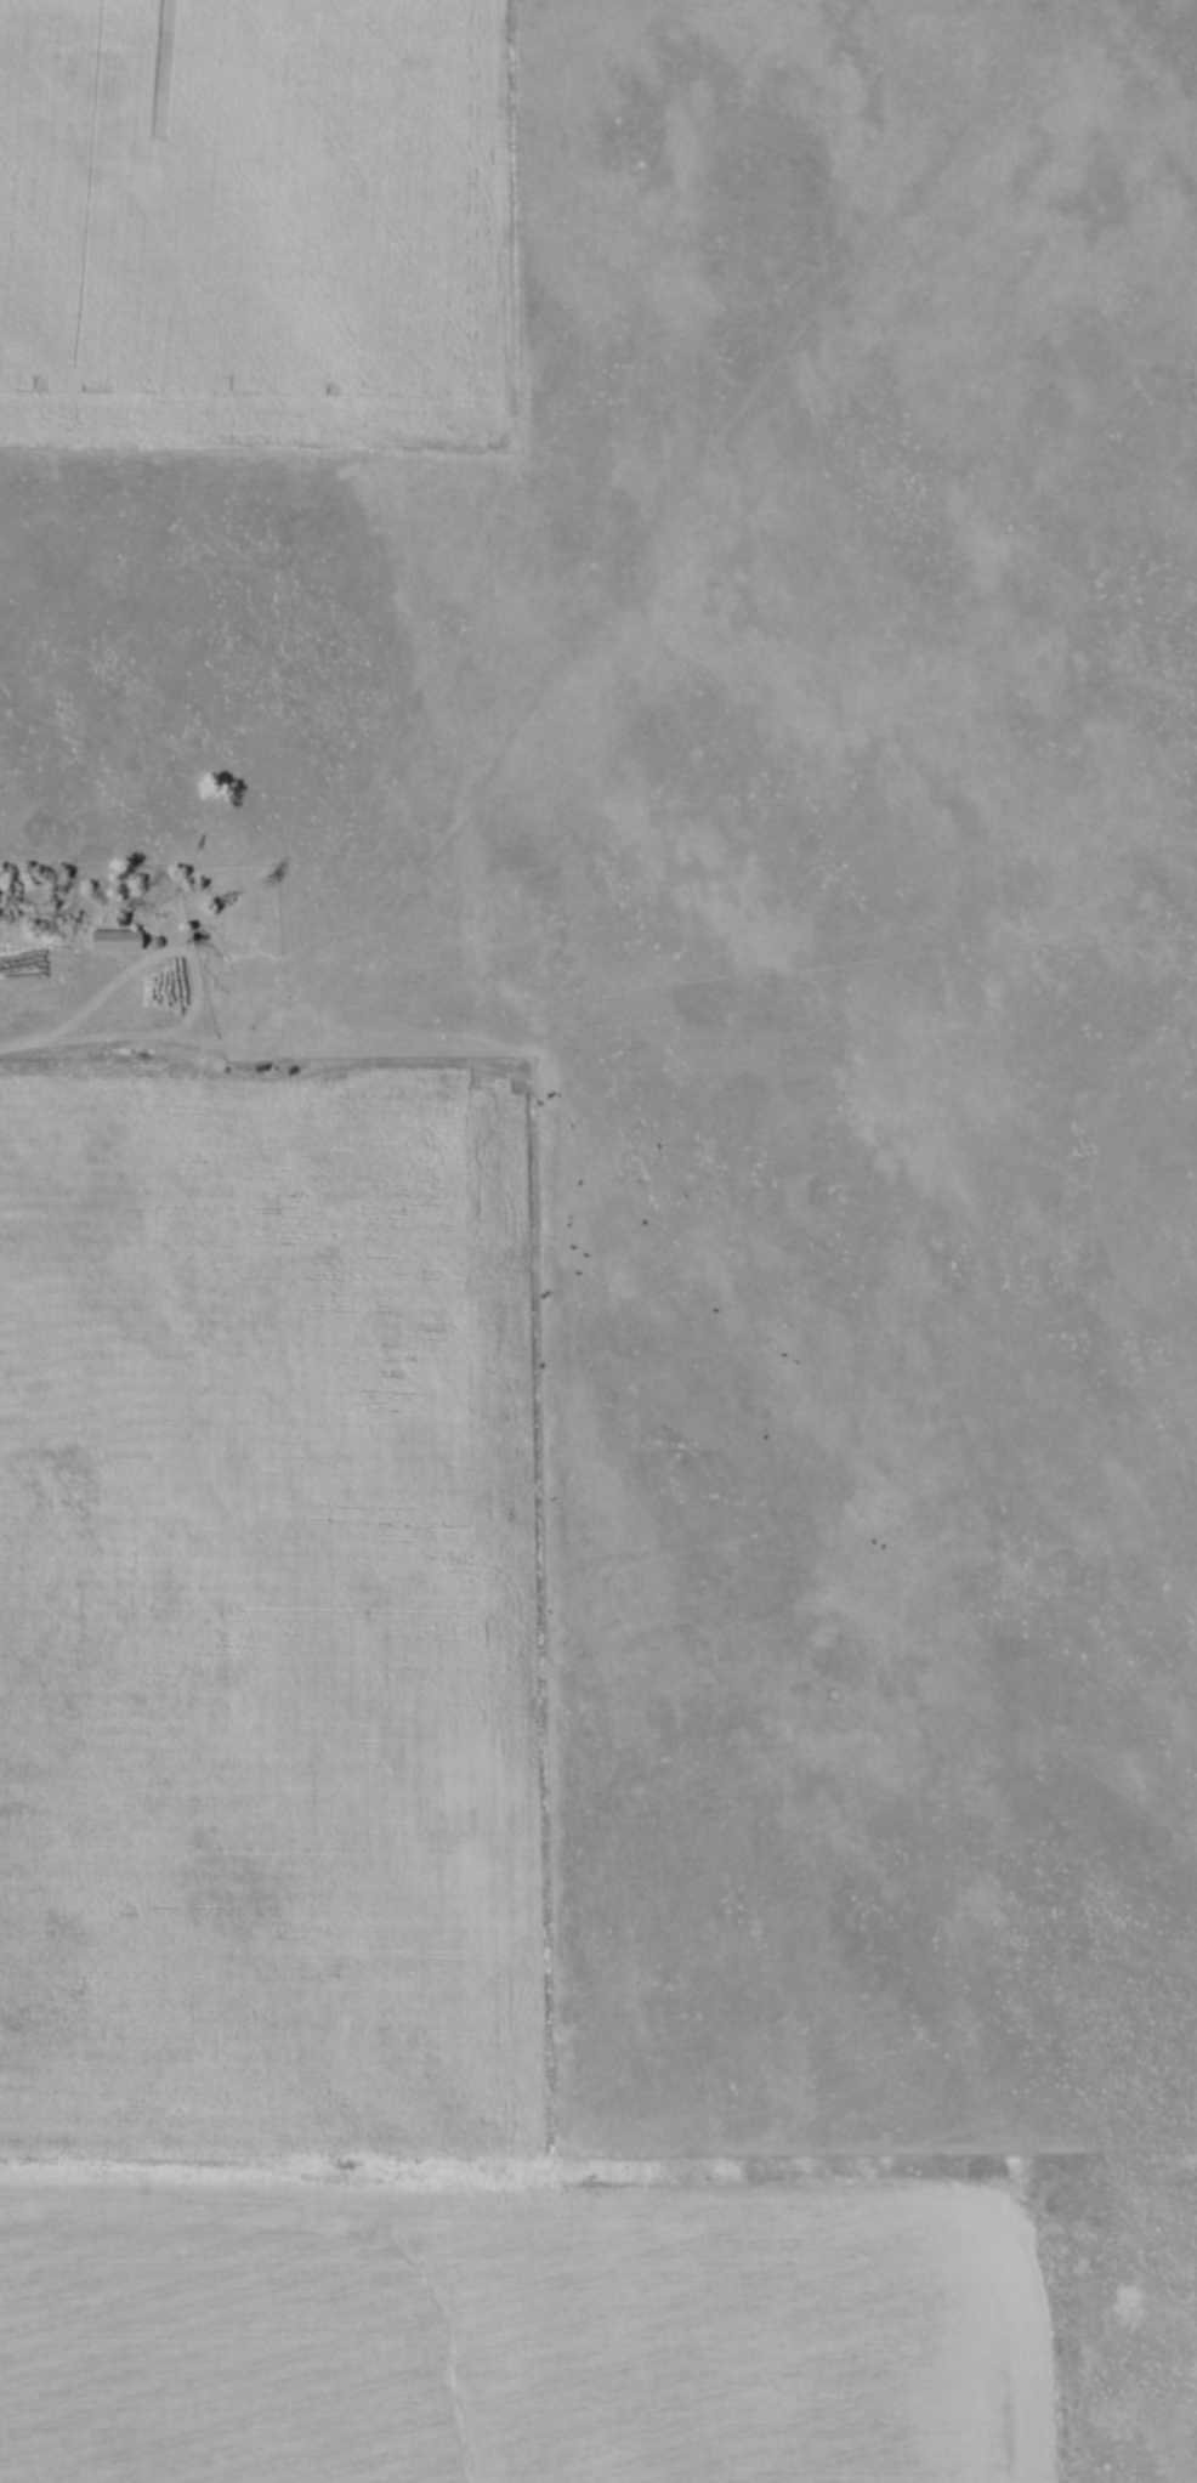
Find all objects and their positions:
building: (108, 942)
building: (137, 1054)

